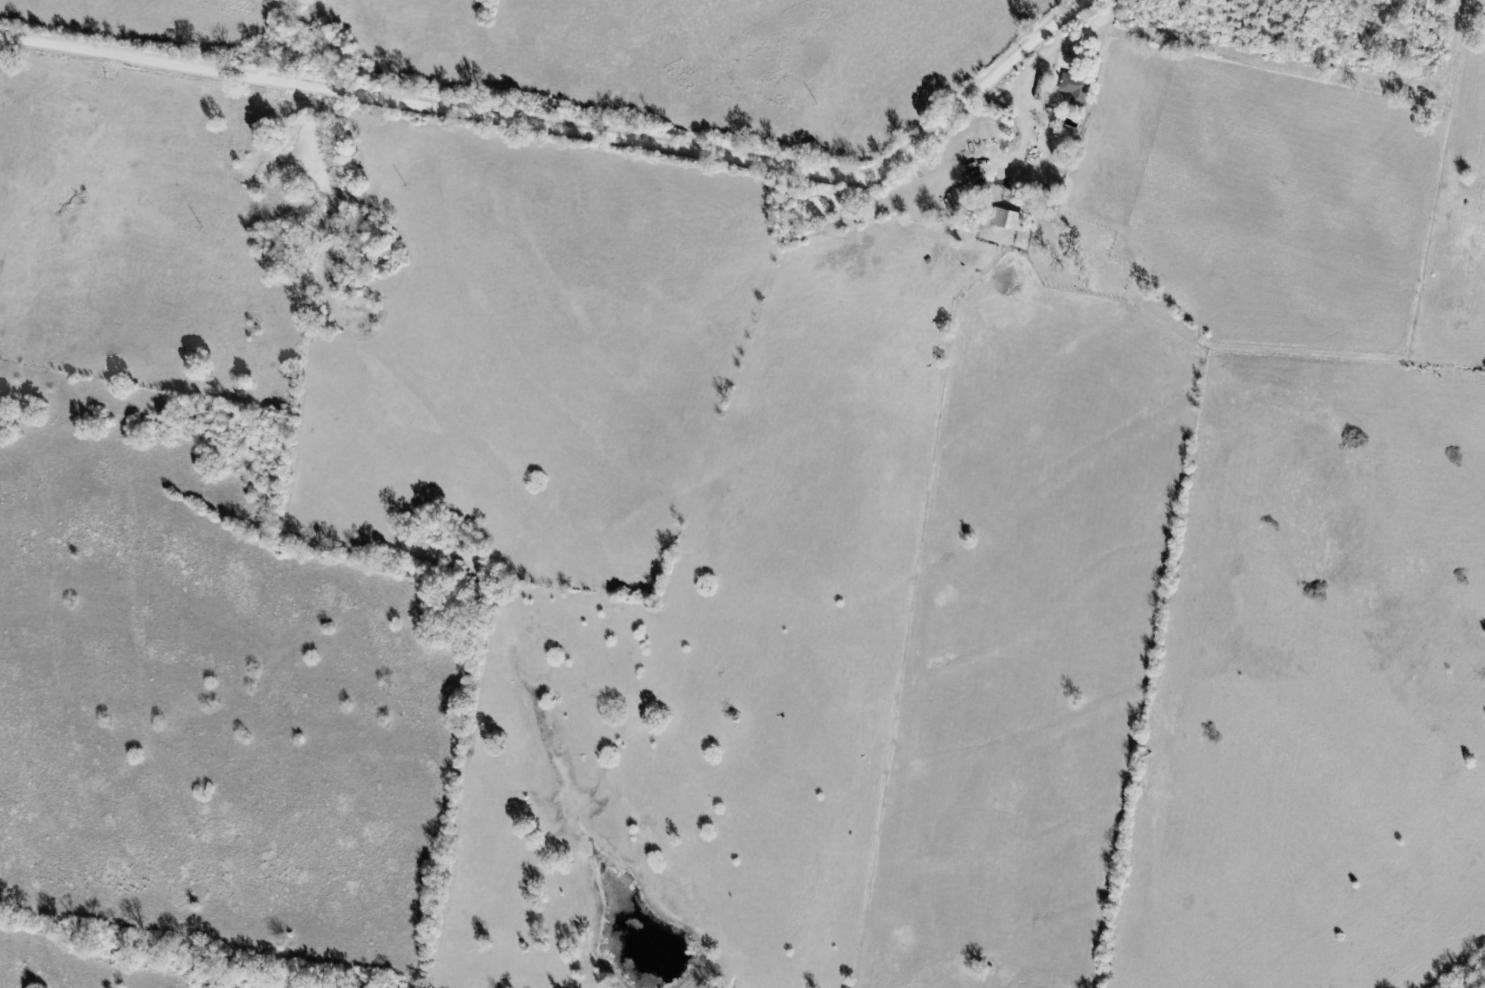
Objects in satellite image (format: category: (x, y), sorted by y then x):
road: (576, 131)
building: (1011, 220)

